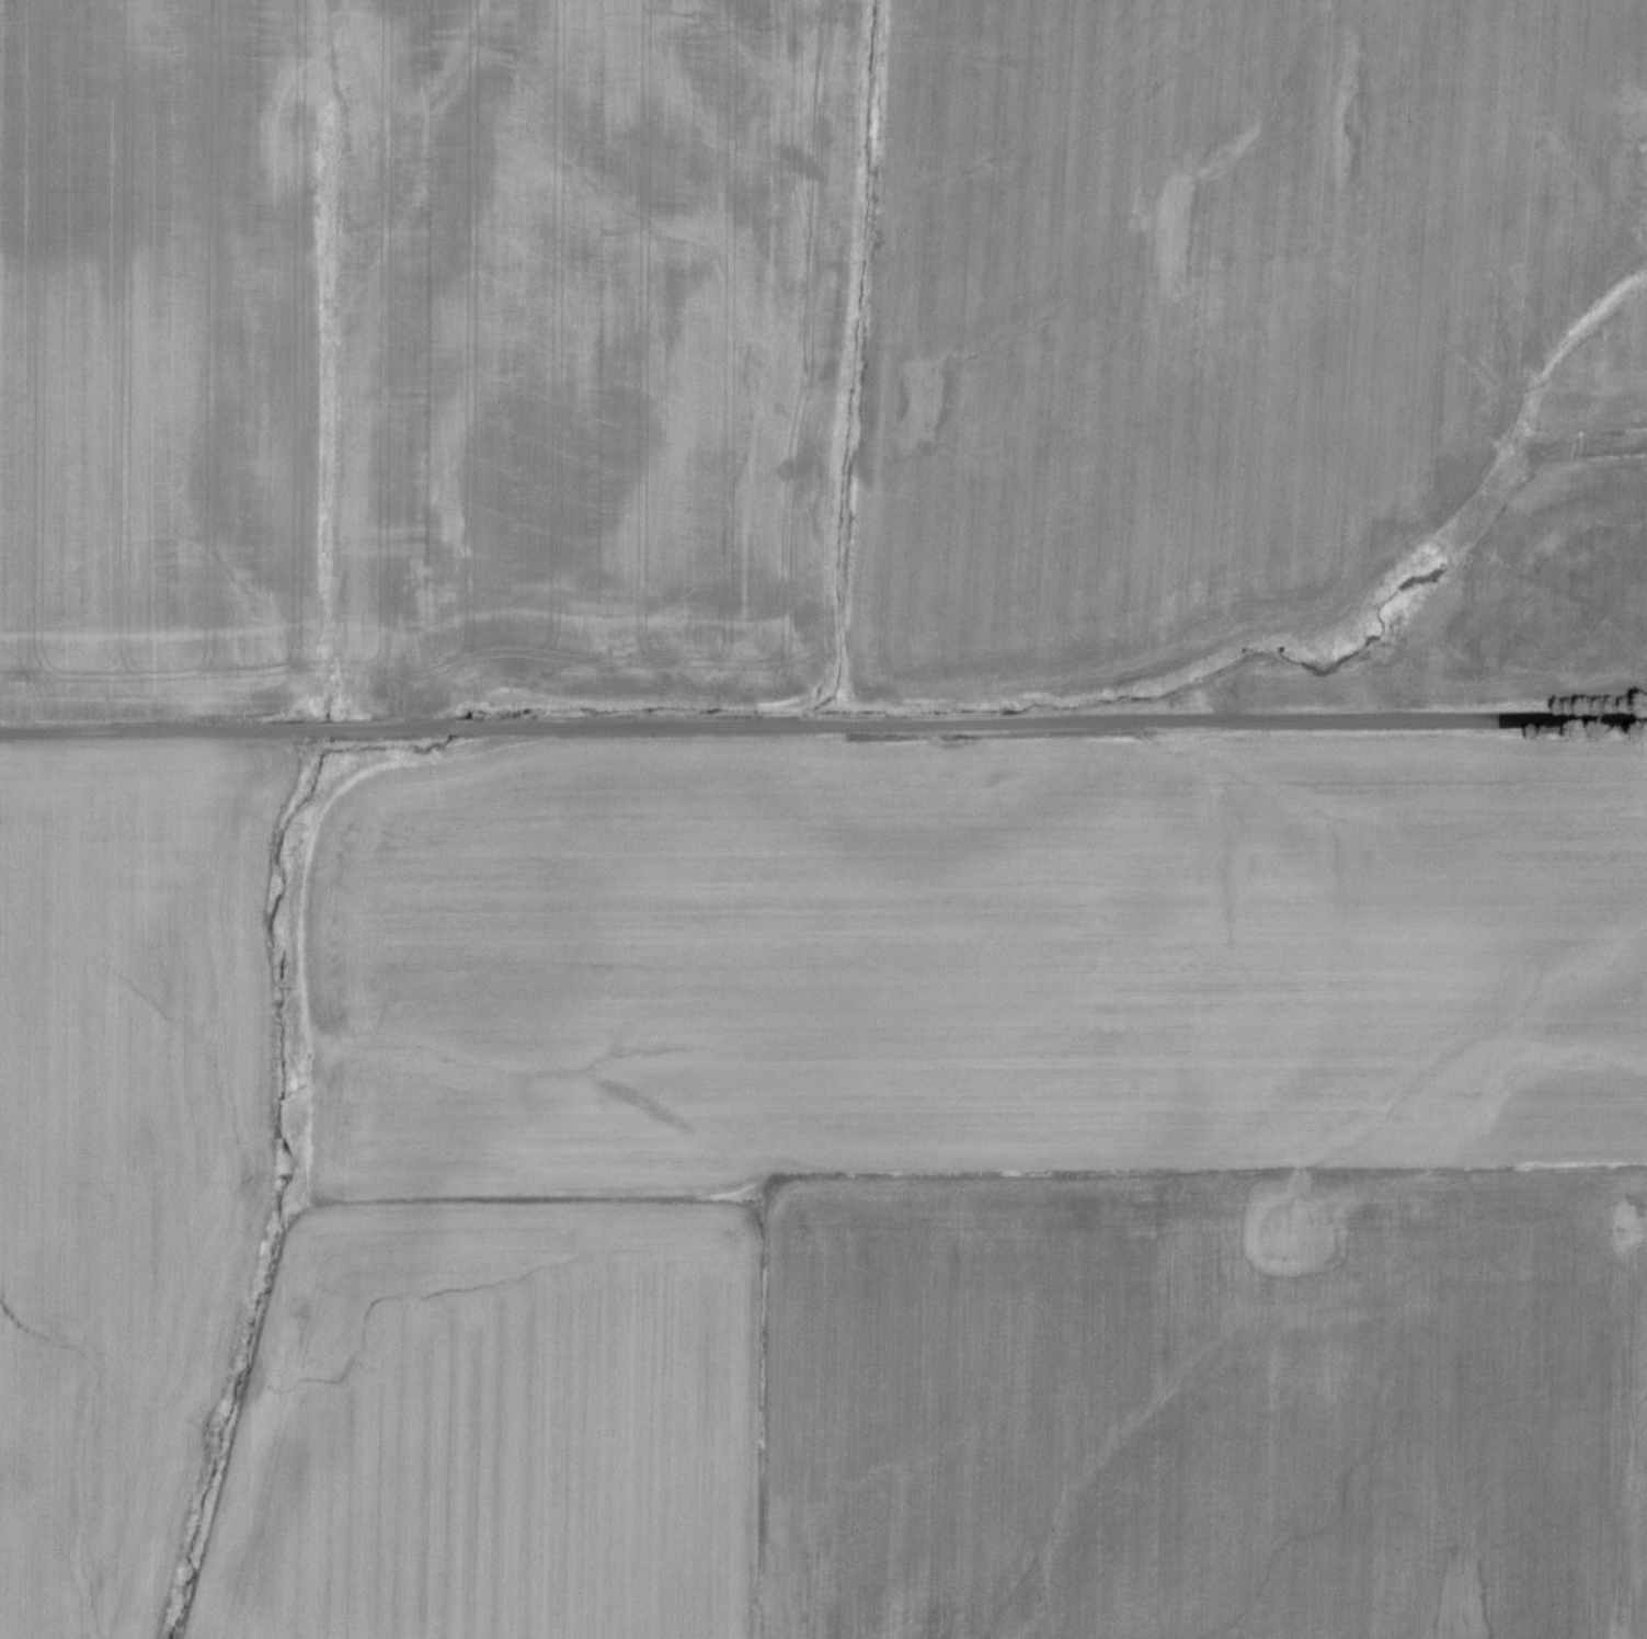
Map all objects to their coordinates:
road: (823, 726)

